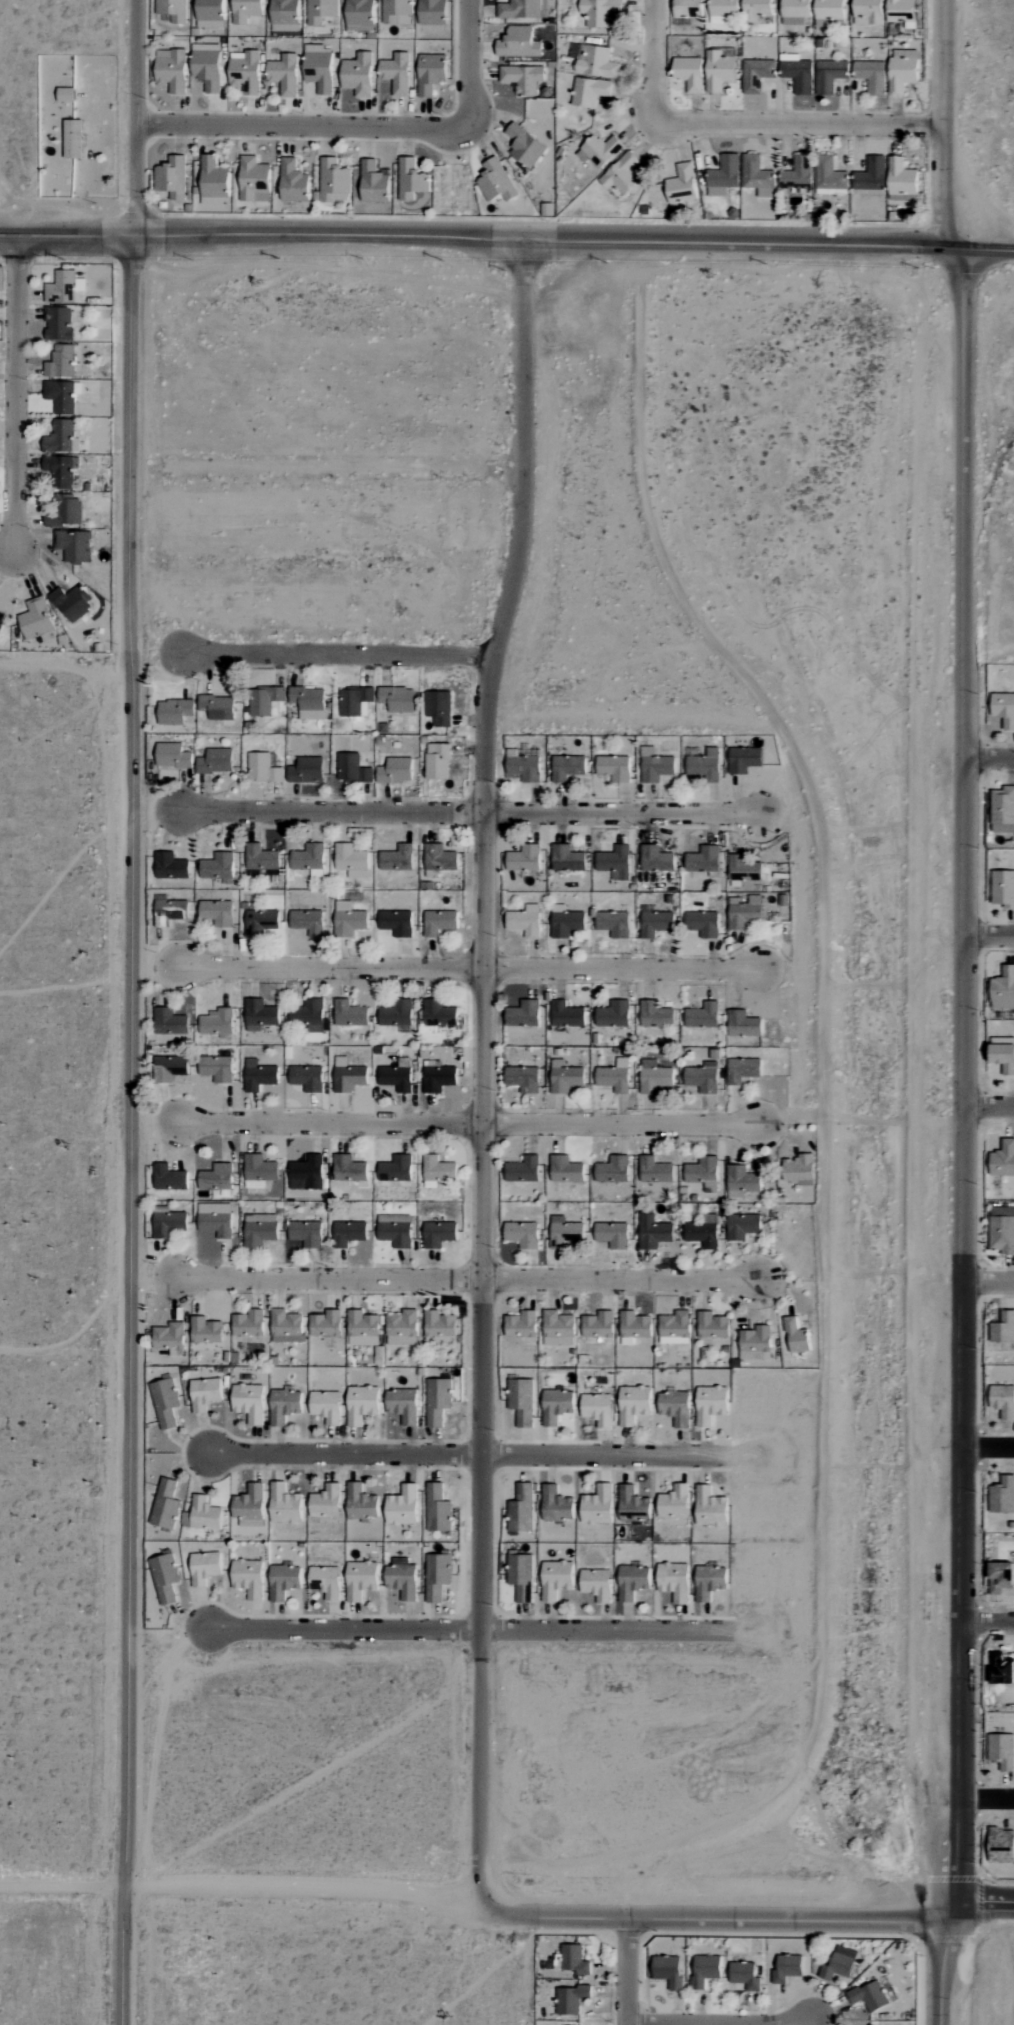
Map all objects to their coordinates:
building: (724, 7)
building: (688, 8)
building: (520, 9)
building: (829, 9)
building: (172, 10)
building: (756, 10)
building: (284, 11)
building: (320, 11)
building: (901, 11)
building: (247, 12)
building: (397, 12)
building: (432, 12)
building: (600, 12)
building: (795, 12)
building: (868, 12)
building: (209, 13)
building: (359, 16)
building: (719, 20)
building: (518, 43)
building: (594, 61)
road: (654, 61)
road: (470, 64)
building: (207, 66)
building: (171, 70)
building: (245, 71)
building: (319, 71)
building: (718, 71)
building: (902, 71)
building: (396, 73)
building: (430, 73)
building: (689, 73)
building: (797, 73)
building: (358, 74)
building: (284, 75)
building: (756, 75)
building: (829, 75)
building: (871, 76)
building: (523, 78)
building: (589, 92)
road: (800, 124)
road: (946, 124)
road: (303, 126)
building: (73, 139)
building: (524, 146)
building: (601, 150)
building: (622, 174)
building: (797, 174)
building: (870, 175)
building: (724, 176)
building: (757, 176)
building: (829, 176)
building: (171, 177)
building: (254, 180)
building: (411, 180)
building: (901, 180)
building: (334, 181)
building: (213, 182)
building: (293, 182)
building: (495, 182)
building: (373, 183)
building: (681, 185)
road: (262, 233)
road: (737, 242)
road: (982, 249)
building: (65, 288)
building: (58, 324)
building: (61, 362)
road: (17, 392)
building: (61, 396)
building: (61, 437)
building: (60, 471)
building: (65, 511)
building: (74, 546)
building: (71, 603)
building: (1, 619)
building: (36, 619)
road: (339, 652)
building: (397, 699)
building: (265, 701)
building: (355, 702)
building: (309, 703)
building: (217, 707)
building: (438, 708)
building: (1004, 709)
building: (174, 712)
building: (173, 756)
road: (989, 758)
building: (744, 760)
building: (215, 762)
building: (437, 762)
building: (655, 766)
building: (705, 766)
building: (523, 767)
building: (567, 768)
building: (614, 768)
building: (263, 769)
building: (352, 769)
building: (306, 771)
building: (396, 771)
building: (1003, 807)
road: (475, 811)
building: (261, 858)
building: (397, 859)
building: (440, 859)
building: (524, 859)
building: (567, 859)
building: (656, 859)
building: (309, 860)
building: (703, 860)
building: (351, 861)
building: (615, 863)
building: (170, 867)
building: (218, 867)
building: (1003, 889)
building: (171, 910)
building: (744, 912)
building: (217, 913)
building: (349, 920)
building: (525, 921)
building: (260, 922)
building: (308, 922)
building: (566, 922)
building: (397, 923)
building: (439, 923)
building: (614, 924)
building: (656, 924)
building: (703, 924)
road: (989, 935)
road: (471, 966)
building: (1003, 990)
road: (132, 1012)
building: (349, 1014)
building: (397, 1014)
building: (439, 1014)
building: (523, 1014)
building: (259, 1015)
building: (566, 1015)
building: (613, 1015)
building: (656, 1015)
building: (308, 1016)
building: (702, 1017)
building: (170, 1022)
building: (217, 1023)
building: (743, 1025)
building: (1003, 1054)
building: (170, 1068)
building: (216, 1069)
road: (484, 1069)
building: (743, 1070)
building: (259, 1076)
building: (348, 1076)
building: (398, 1076)
building: (438, 1077)
building: (615, 1077)
building: (307, 1078)
building: (565, 1078)
building: (655, 1078)
building: (703, 1078)
building: (523, 1079)
road: (989, 1106)
road: (469, 1123)
road: (964, 1137)
building: (1003, 1159)
building: (259, 1168)
building: (349, 1169)
building: (396, 1169)
building: (565, 1169)
building: (798, 1169)
building: (523, 1170)
building: (613, 1170)
building: (654, 1170)
building: (437, 1171)
building: (306, 1173)
building: (703, 1173)
building: (169, 1177)
building: (216, 1177)
building: (742, 1181)
building: (217, 1218)
building: (169, 1224)
building: (742, 1226)
building: (259, 1229)
building: (1002, 1229)
building: (395, 1230)
building: (653, 1232)
building: (703, 1232)
building: (306, 1233)
building: (348, 1233)
building: (566, 1233)
building: (438, 1234)
building: (522, 1234)
building: (612, 1234)
road: (471, 1277)
road: (989, 1280)
building: (248, 1323)
building: (325, 1324)
building: (439, 1324)
building: (521, 1324)
building: (598, 1325)
building: (712, 1325)
building: (286, 1326)
building: (634, 1327)
building: (675, 1328)
building: (1003, 1328)
building: (363, 1329)
building: (558, 1329)
building: (206, 1330)
building: (796, 1336)
building: (169, 1337)
building: (205, 1394)
building: (438, 1401)
building: (521, 1401)
building: (1003, 1401)
building: (166, 1402)
building: (249, 1402)
building: (361, 1404)
building: (633, 1404)
building: (711, 1404)
building: (403, 1405)
building: (284, 1406)
building: (326, 1406)
building: (556, 1406)
building: (675, 1407)
building: (598, 1409)
road: (989, 1447)
road: (473, 1452)
building: (1002, 1495)
building: (326, 1502)
building: (361, 1502)
building: (674, 1502)
building: (165, 1504)
building: (284, 1504)
building: (556, 1504)
building: (249, 1505)
building: (633, 1505)
building: (402, 1506)
building: (597, 1506)
building: (710, 1507)
building: (437, 1508)
building: (521, 1509)
building: (203, 1513)
building: (204, 1568)
building: (437, 1576)
building: (521, 1576)
building: (165, 1577)
building: (1000, 1577)
building: (248, 1578)
building: (402, 1578)
building: (361, 1579)
building: (556, 1579)
building: (283, 1581)
building: (325, 1581)
building: (674, 1581)
building: (632, 1582)
building: (710, 1582)
building: (597, 1584)
road: (989, 1622)
road: (471, 1627)
building: (1002, 1751)
road: (989, 1797)
road: (243, 1888)
road: (983, 1902)
road: (717, 1916)
building: (572, 1960)
building: (839, 1964)
building: (787, 1969)
building: (705, 1970)
road: (630, 1971)
building: (668, 1971)
building: (745, 1976)
building: (869, 1996)
building: (571, 1999)
road: (723, 2023)

